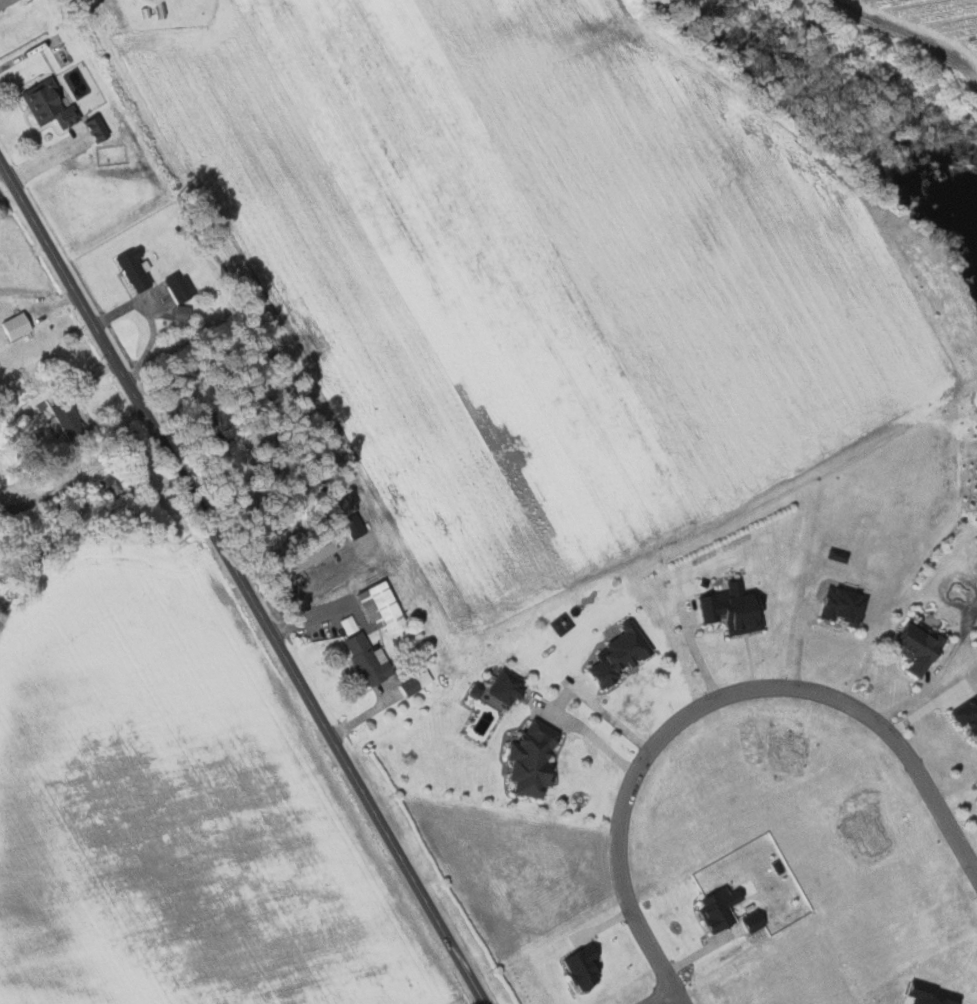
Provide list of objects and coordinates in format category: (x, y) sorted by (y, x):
building: (6, 3)
building: (160, 9)
road: (37, 47)
building: (48, 103)
road: (2, 171)
building: (136, 269)
building: (180, 290)
building: (179, 313)
road: (151, 317)
building: (17, 327)
building: (63, 418)
road: (80, 478)
building: (301, 555)
road: (241, 583)
building: (381, 605)
building: (840, 607)
building: (728, 612)
building: (348, 624)
building: (913, 647)
building: (613, 655)
building: (369, 660)
building: (414, 683)
building: (507, 690)
road: (713, 700)
building: (966, 718)
building: (536, 760)
building: (713, 910)
building: (748, 921)
building: (577, 966)
road: (663, 997)

